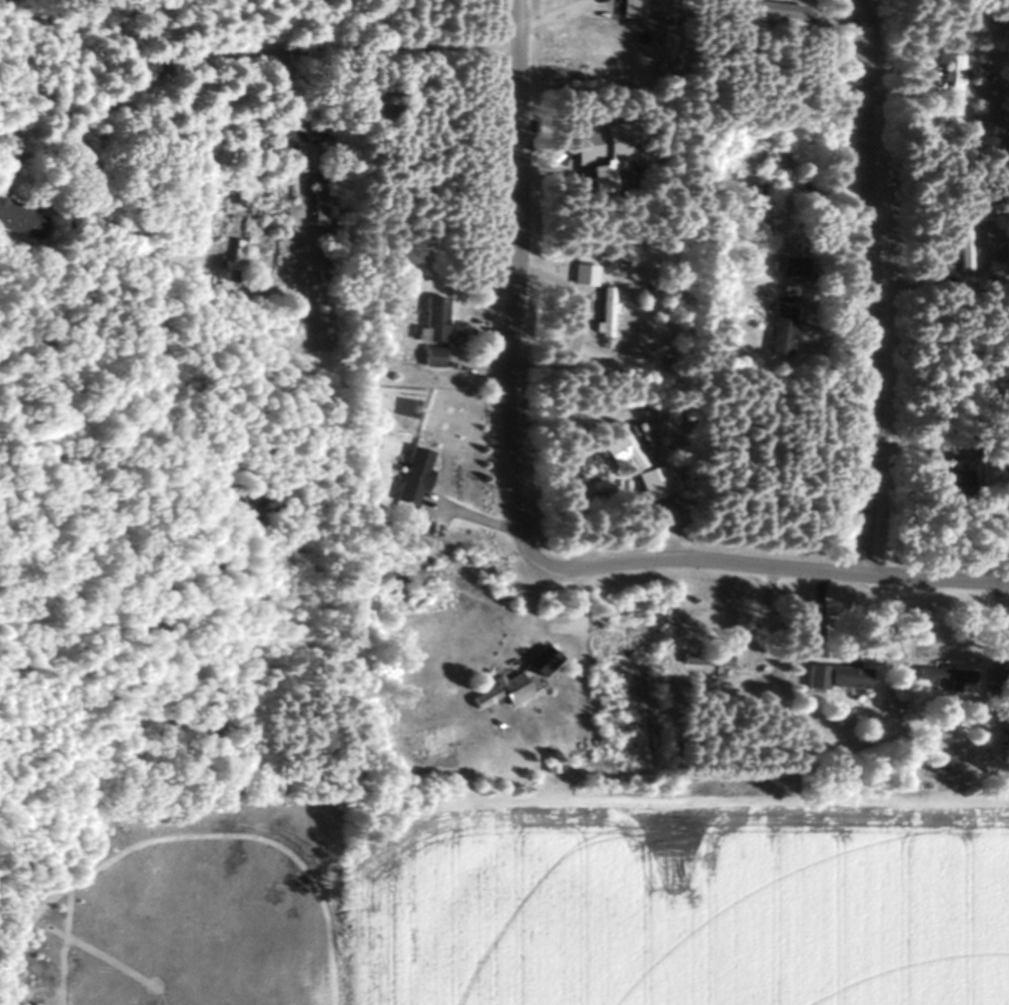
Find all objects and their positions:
building: (636, 2)
building: (775, 9)
road: (238, 50)
building: (954, 77)
building: (316, 205)
building: (19, 218)
building: (961, 249)
building: (792, 266)
road: (861, 288)
building: (605, 306)
building: (431, 319)
building: (779, 330)
building: (429, 357)
building: (620, 447)
building: (412, 477)
building: (656, 480)
road: (512, 507)
road: (751, 571)
building: (717, 660)
building: (539, 661)
building: (835, 676)
building: (936, 676)
building: (993, 678)
building: (499, 692)
building: (427, 742)
road: (352, 958)

